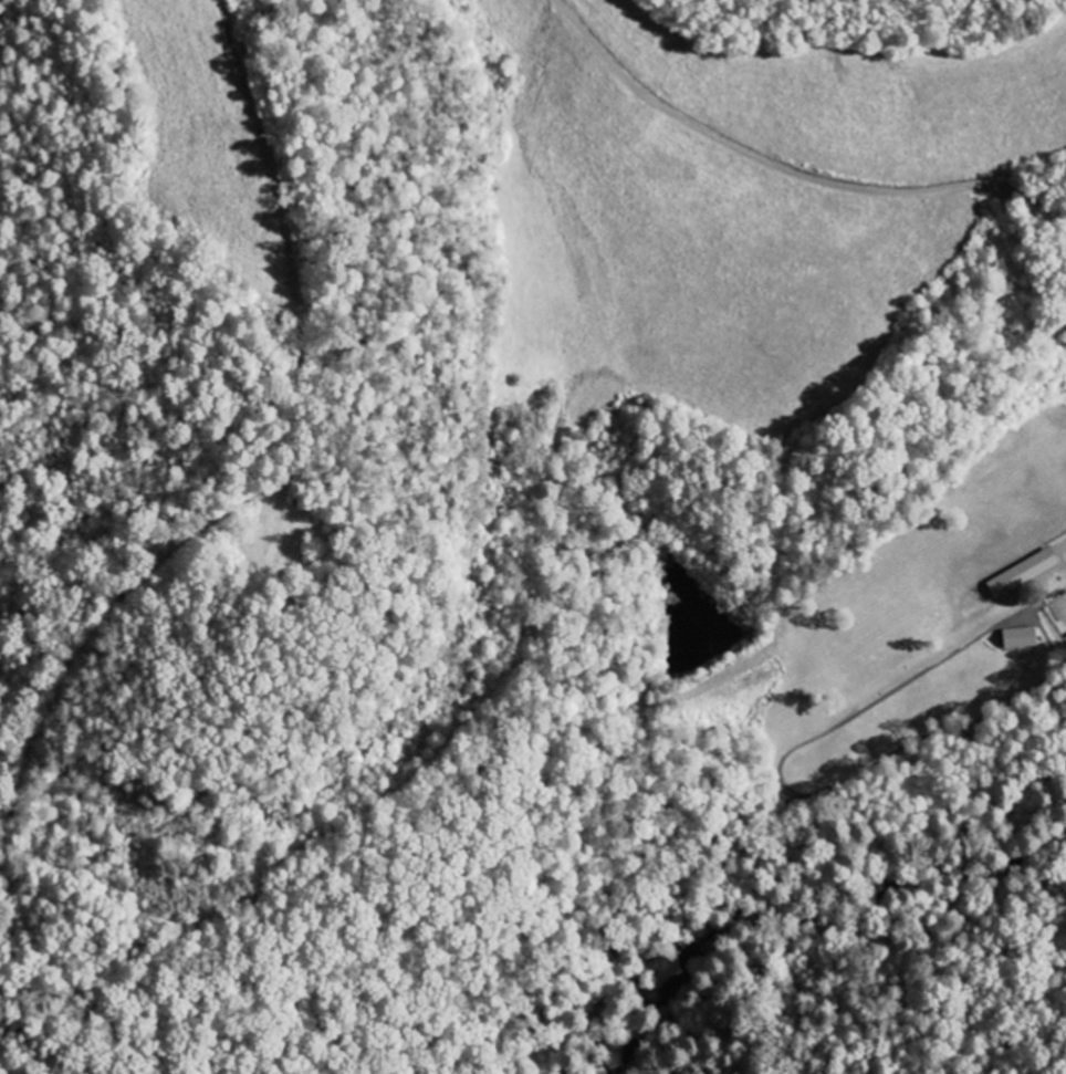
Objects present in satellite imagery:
road: (788, 166)
road: (296, 436)
building: (1025, 574)
building: (1022, 638)
road: (866, 765)
park: (701, 791)
road: (577, 979)
road: (619, 1047)

